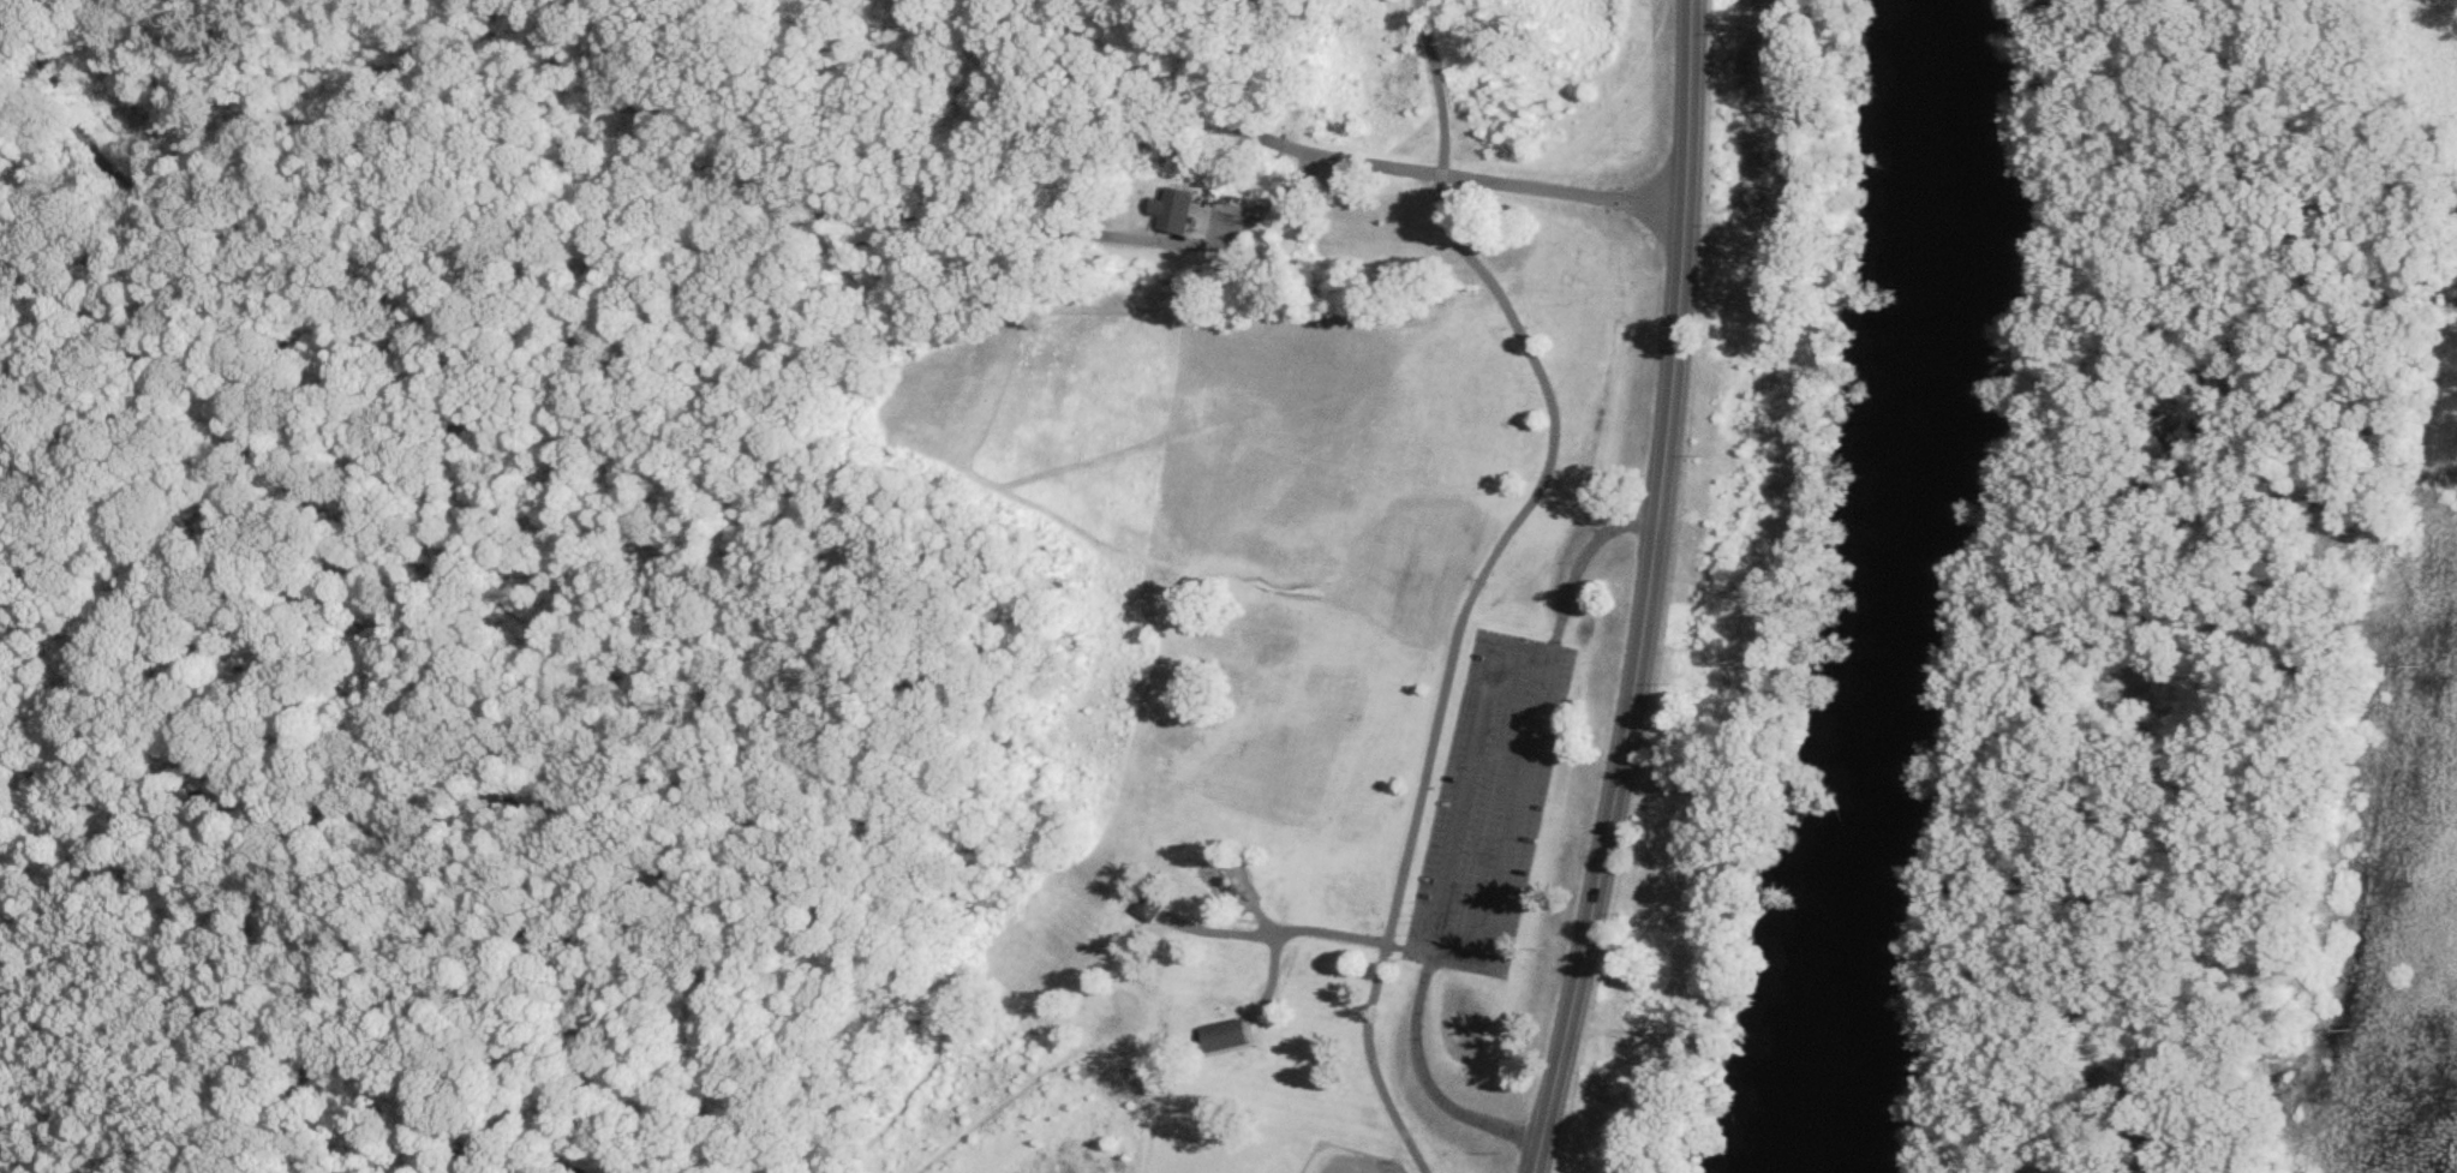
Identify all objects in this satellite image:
road: (1375, 166)
building: (1177, 211)
road: (904, 220)
road: (1582, 562)
road: (1481, 574)
road: (161, 576)
park: (821, 576)
road: (2190, 587)
river: (1921, 588)
road: (1652, 591)
road: (1489, 672)
parking lot: (1488, 804)
building: (1148, 909)
road: (1267, 934)
road: (1487, 936)
road: (1391, 946)
road: (1271, 964)
building: (1222, 1037)
road: (922, 1075)
road: (1428, 1085)
road: (1000, 1108)
road: (500, 1151)
park: (1347, 1162)

